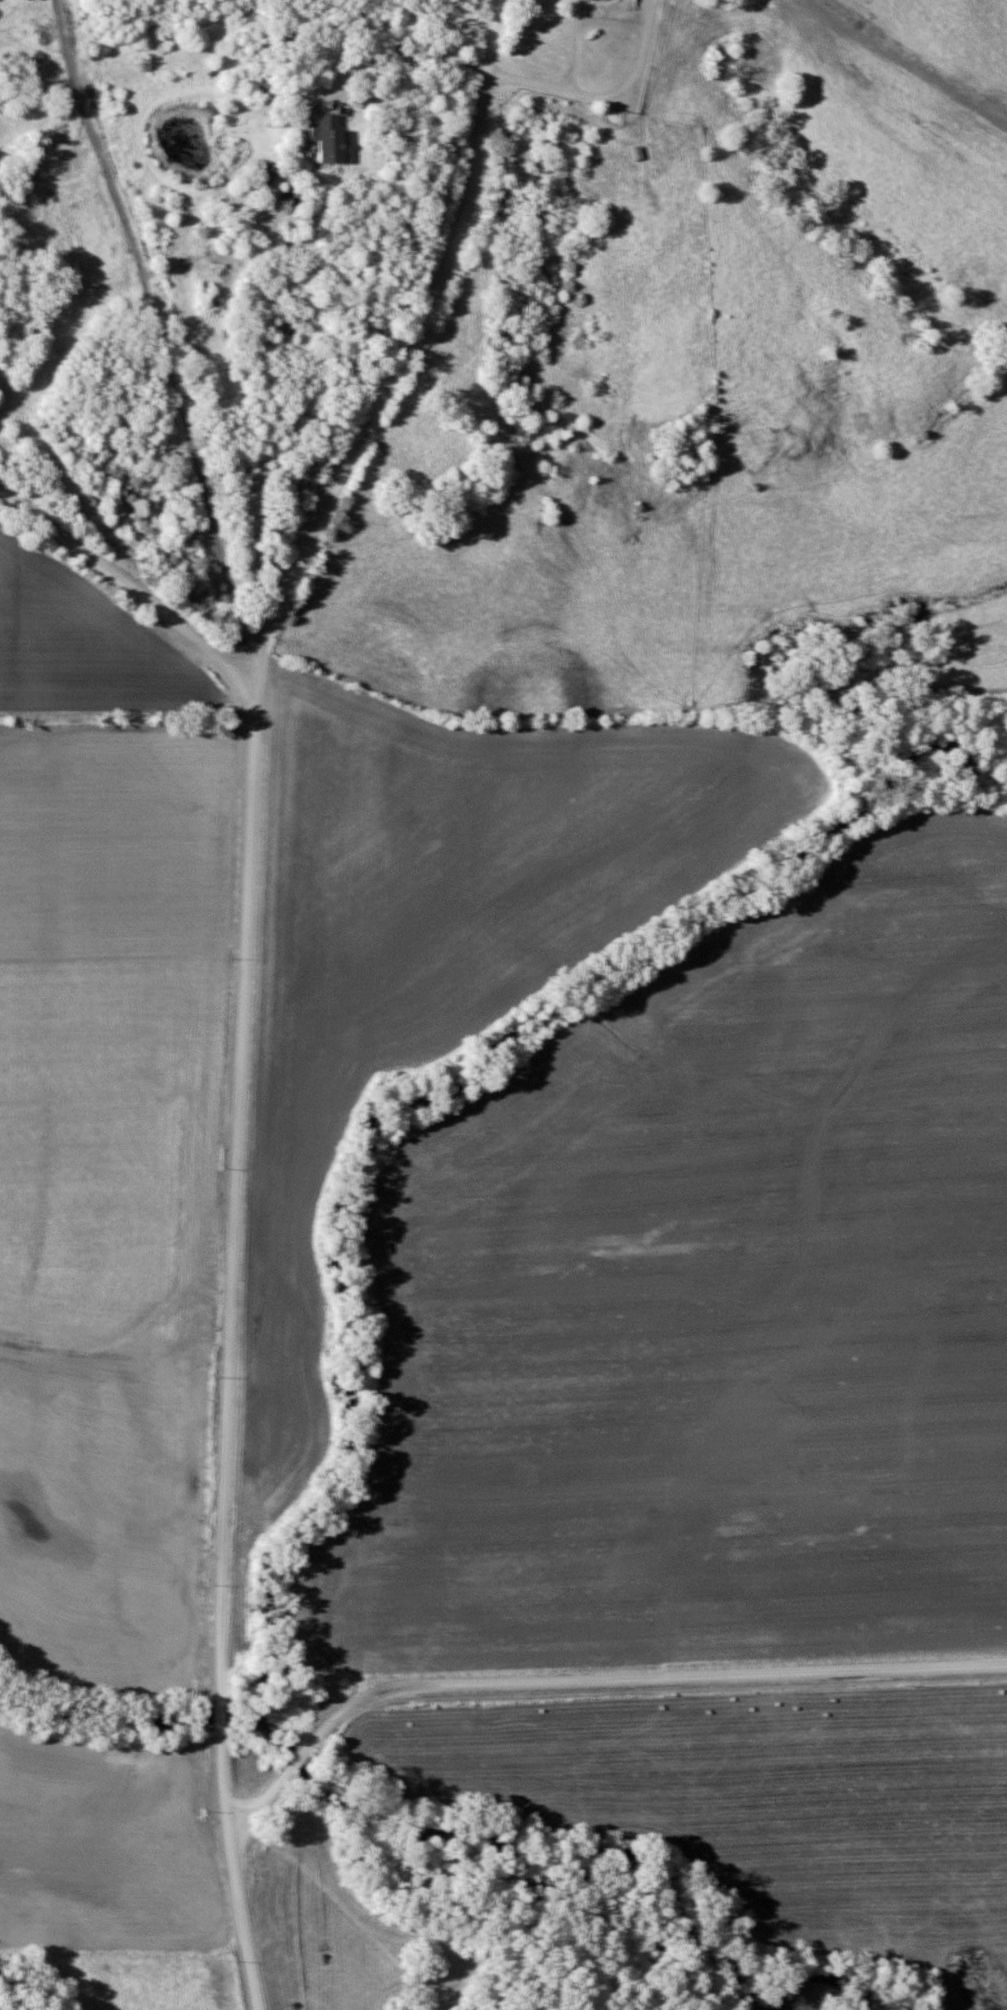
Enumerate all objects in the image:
road: (606, 18)
road: (572, 44)
road: (359, 62)
road: (629, 71)
road: (525, 79)
building: (328, 140)
building: (634, 153)
road: (158, 338)
road: (124, 585)
road: (239, 980)
road: (656, 1673)
road: (277, 1775)

